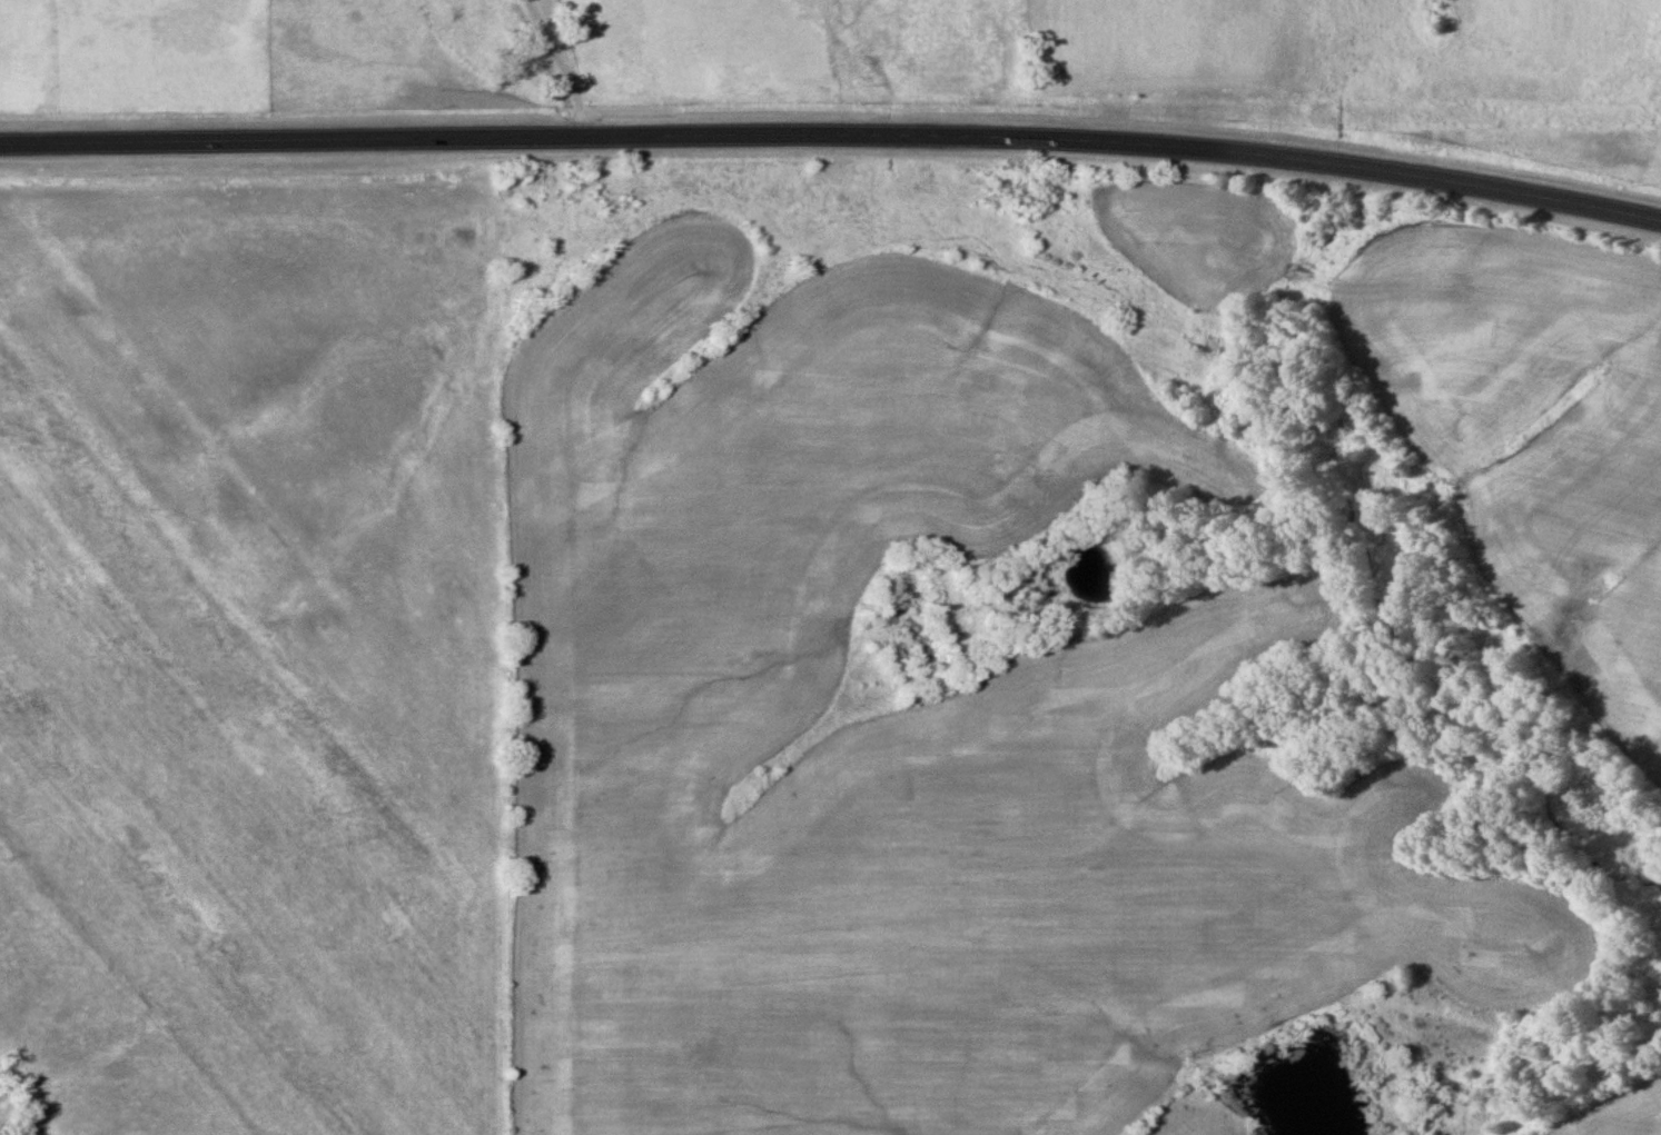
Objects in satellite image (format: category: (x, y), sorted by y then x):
road: (562, 66)
road: (833, 136)

